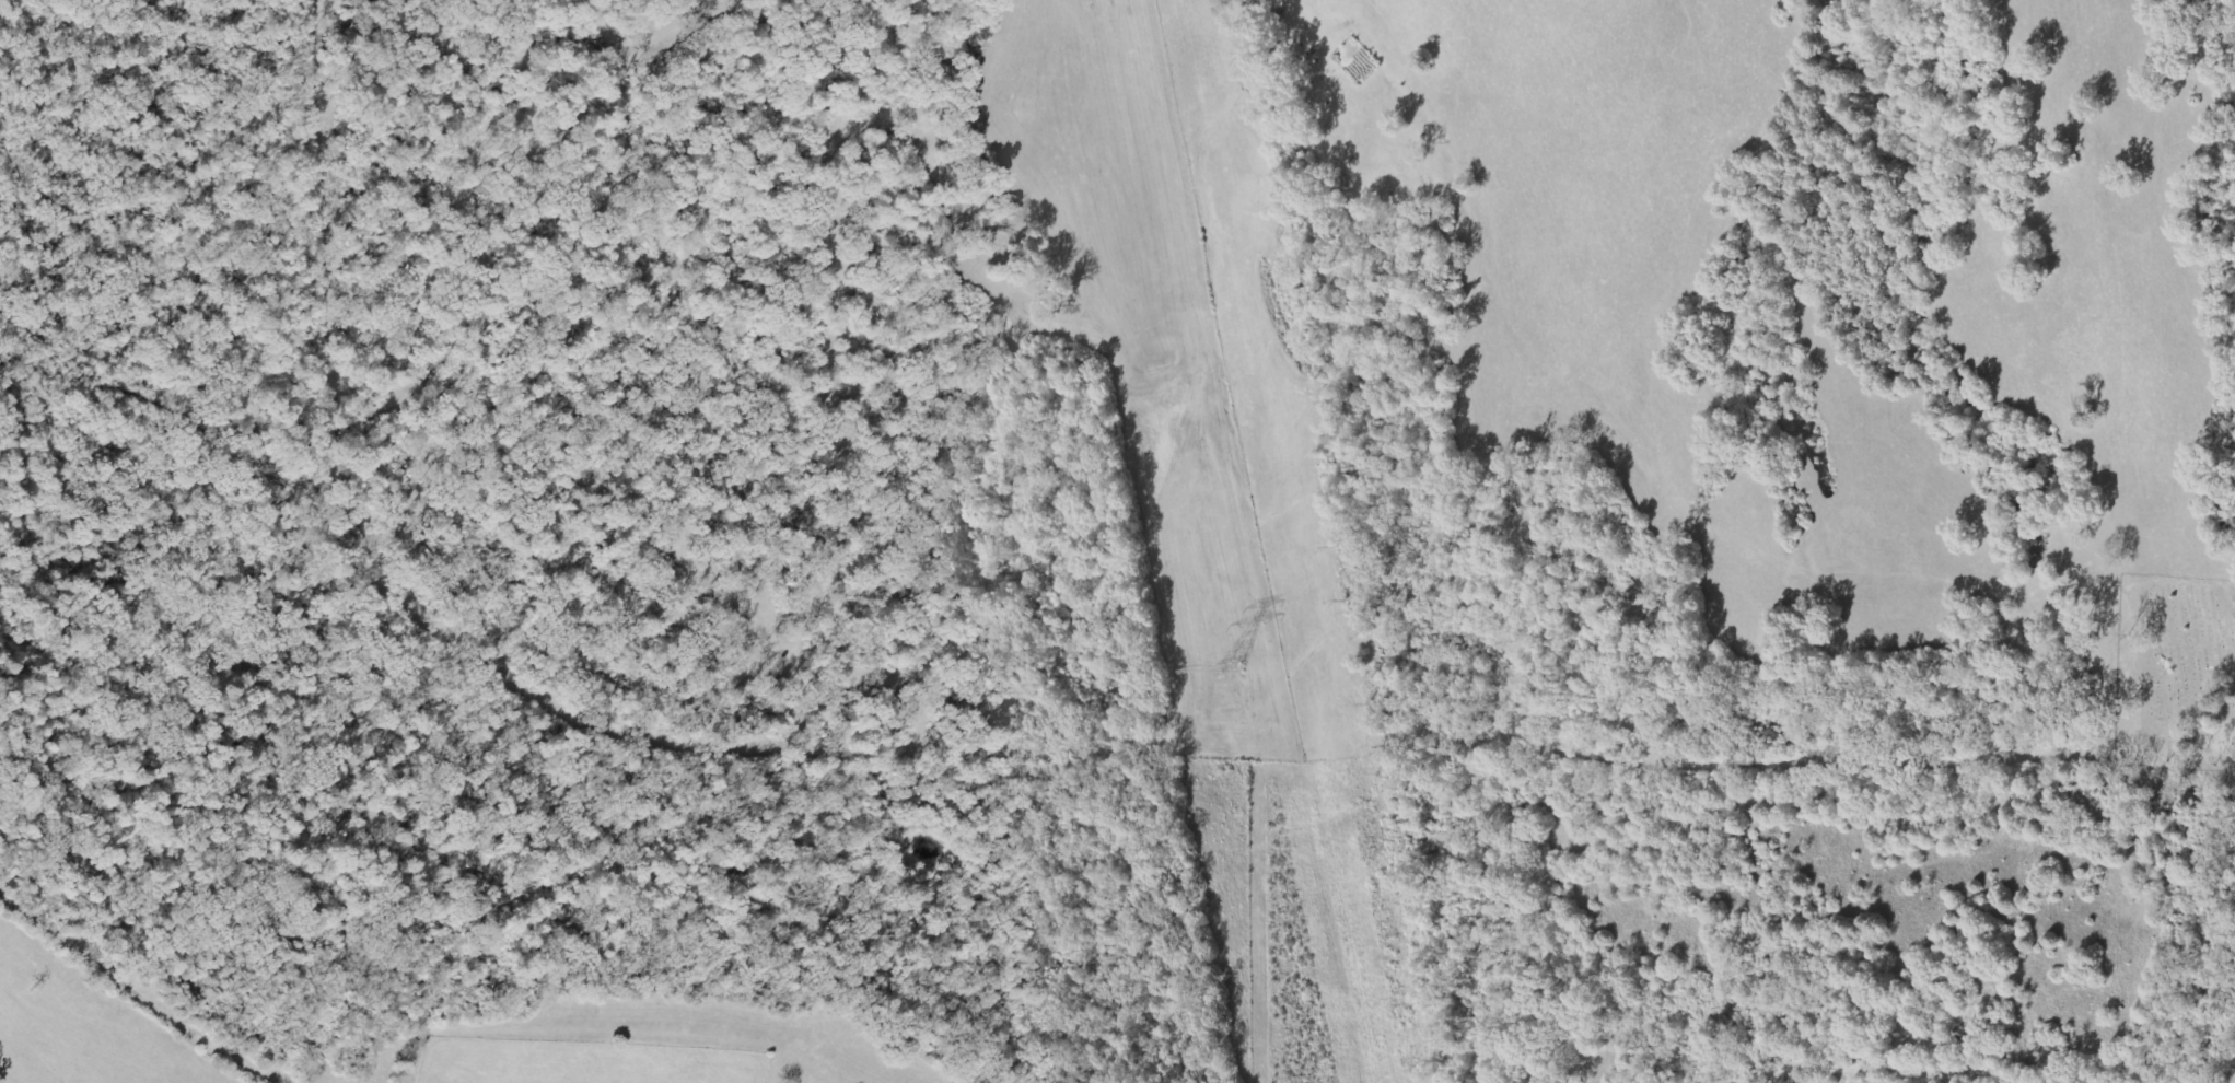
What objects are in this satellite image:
road: (1317, 51)
park: (2178, 666)
power tower: (1229, 669)

